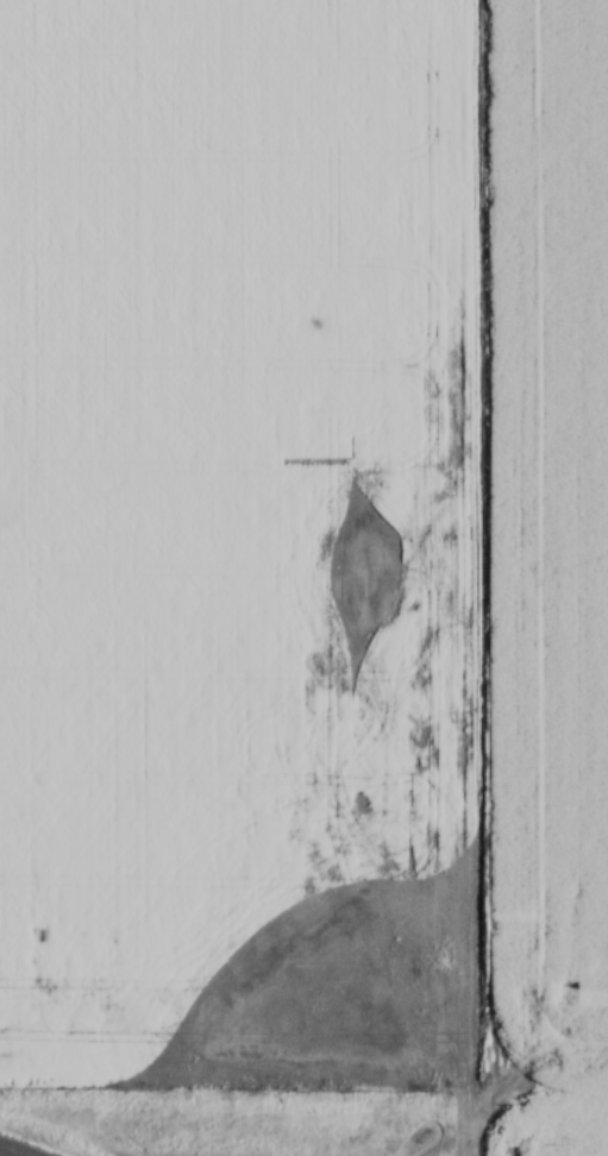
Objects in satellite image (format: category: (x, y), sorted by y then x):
crop: (541, 1117)
road: (30, 1144)

